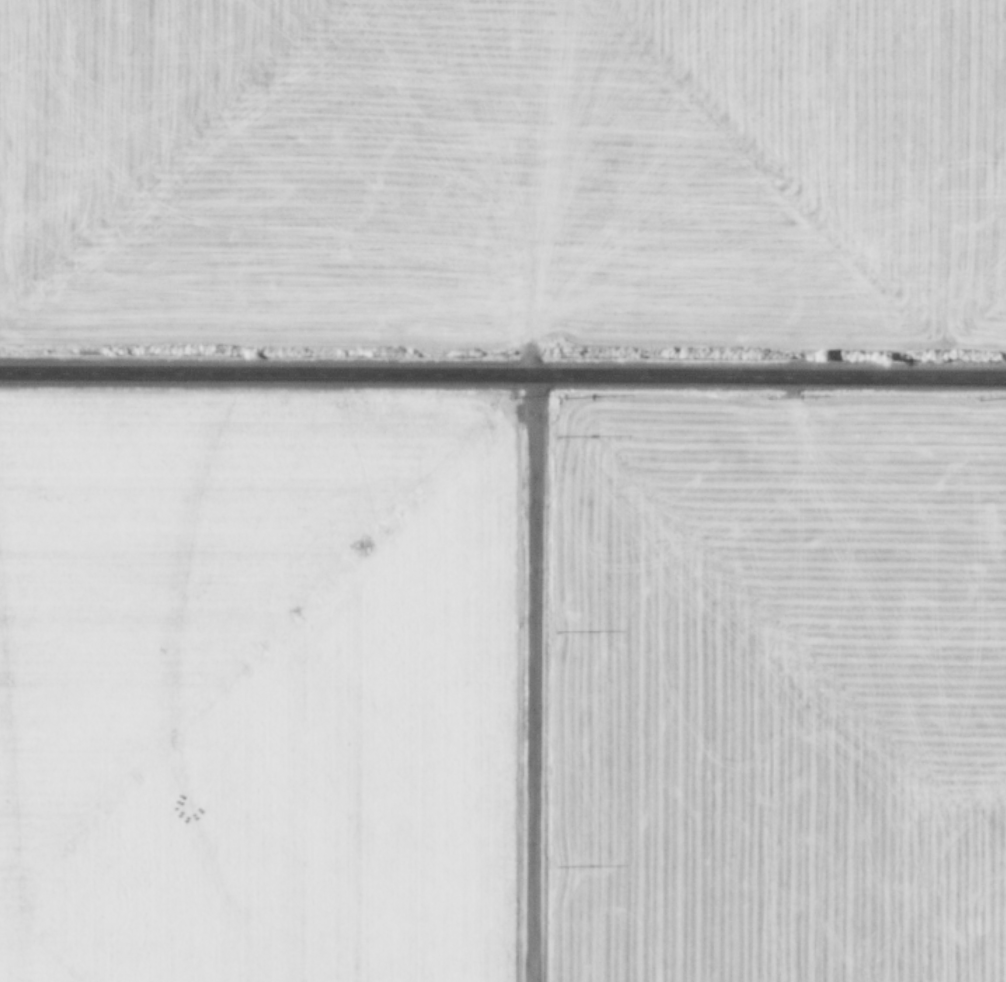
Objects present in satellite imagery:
crop: (504, 169)
road: (502, 376)
road: (529, 679)
crop: (778, 687)
crop: (250, 688)

